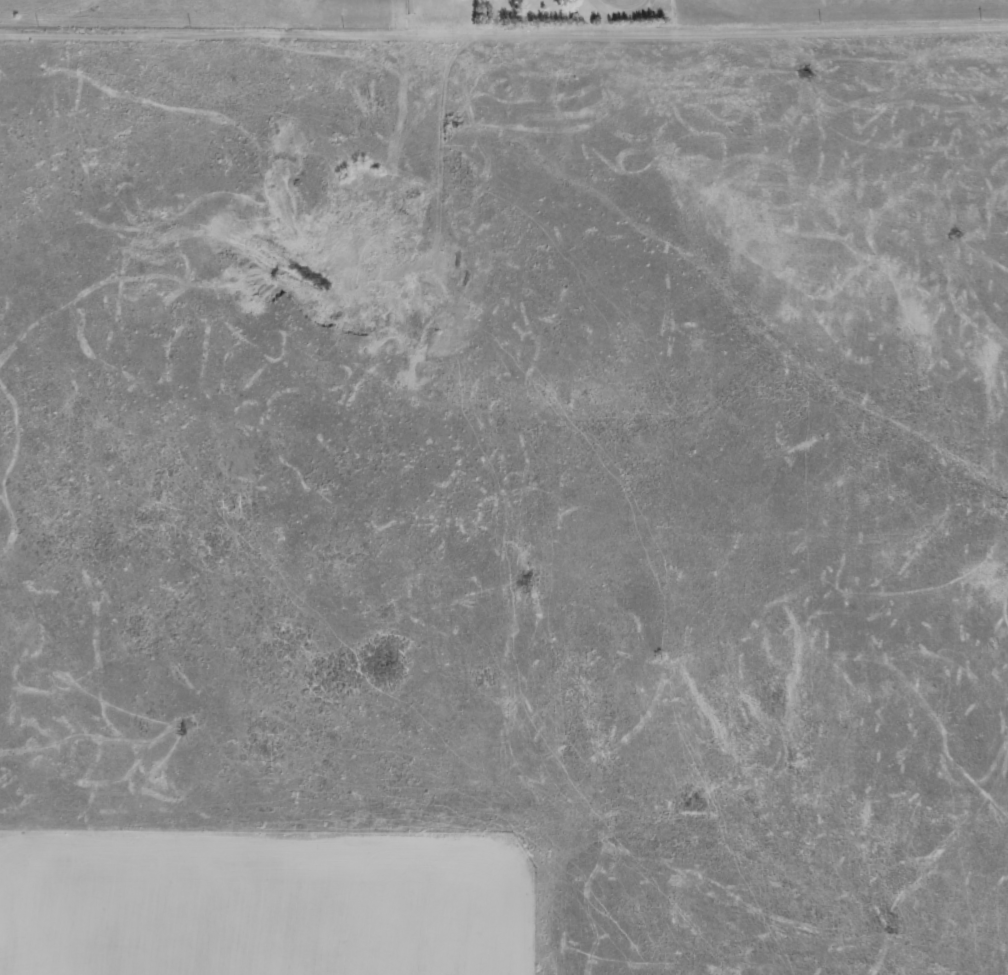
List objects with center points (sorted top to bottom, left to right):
road: (855, 21)
road: (375, 29)

